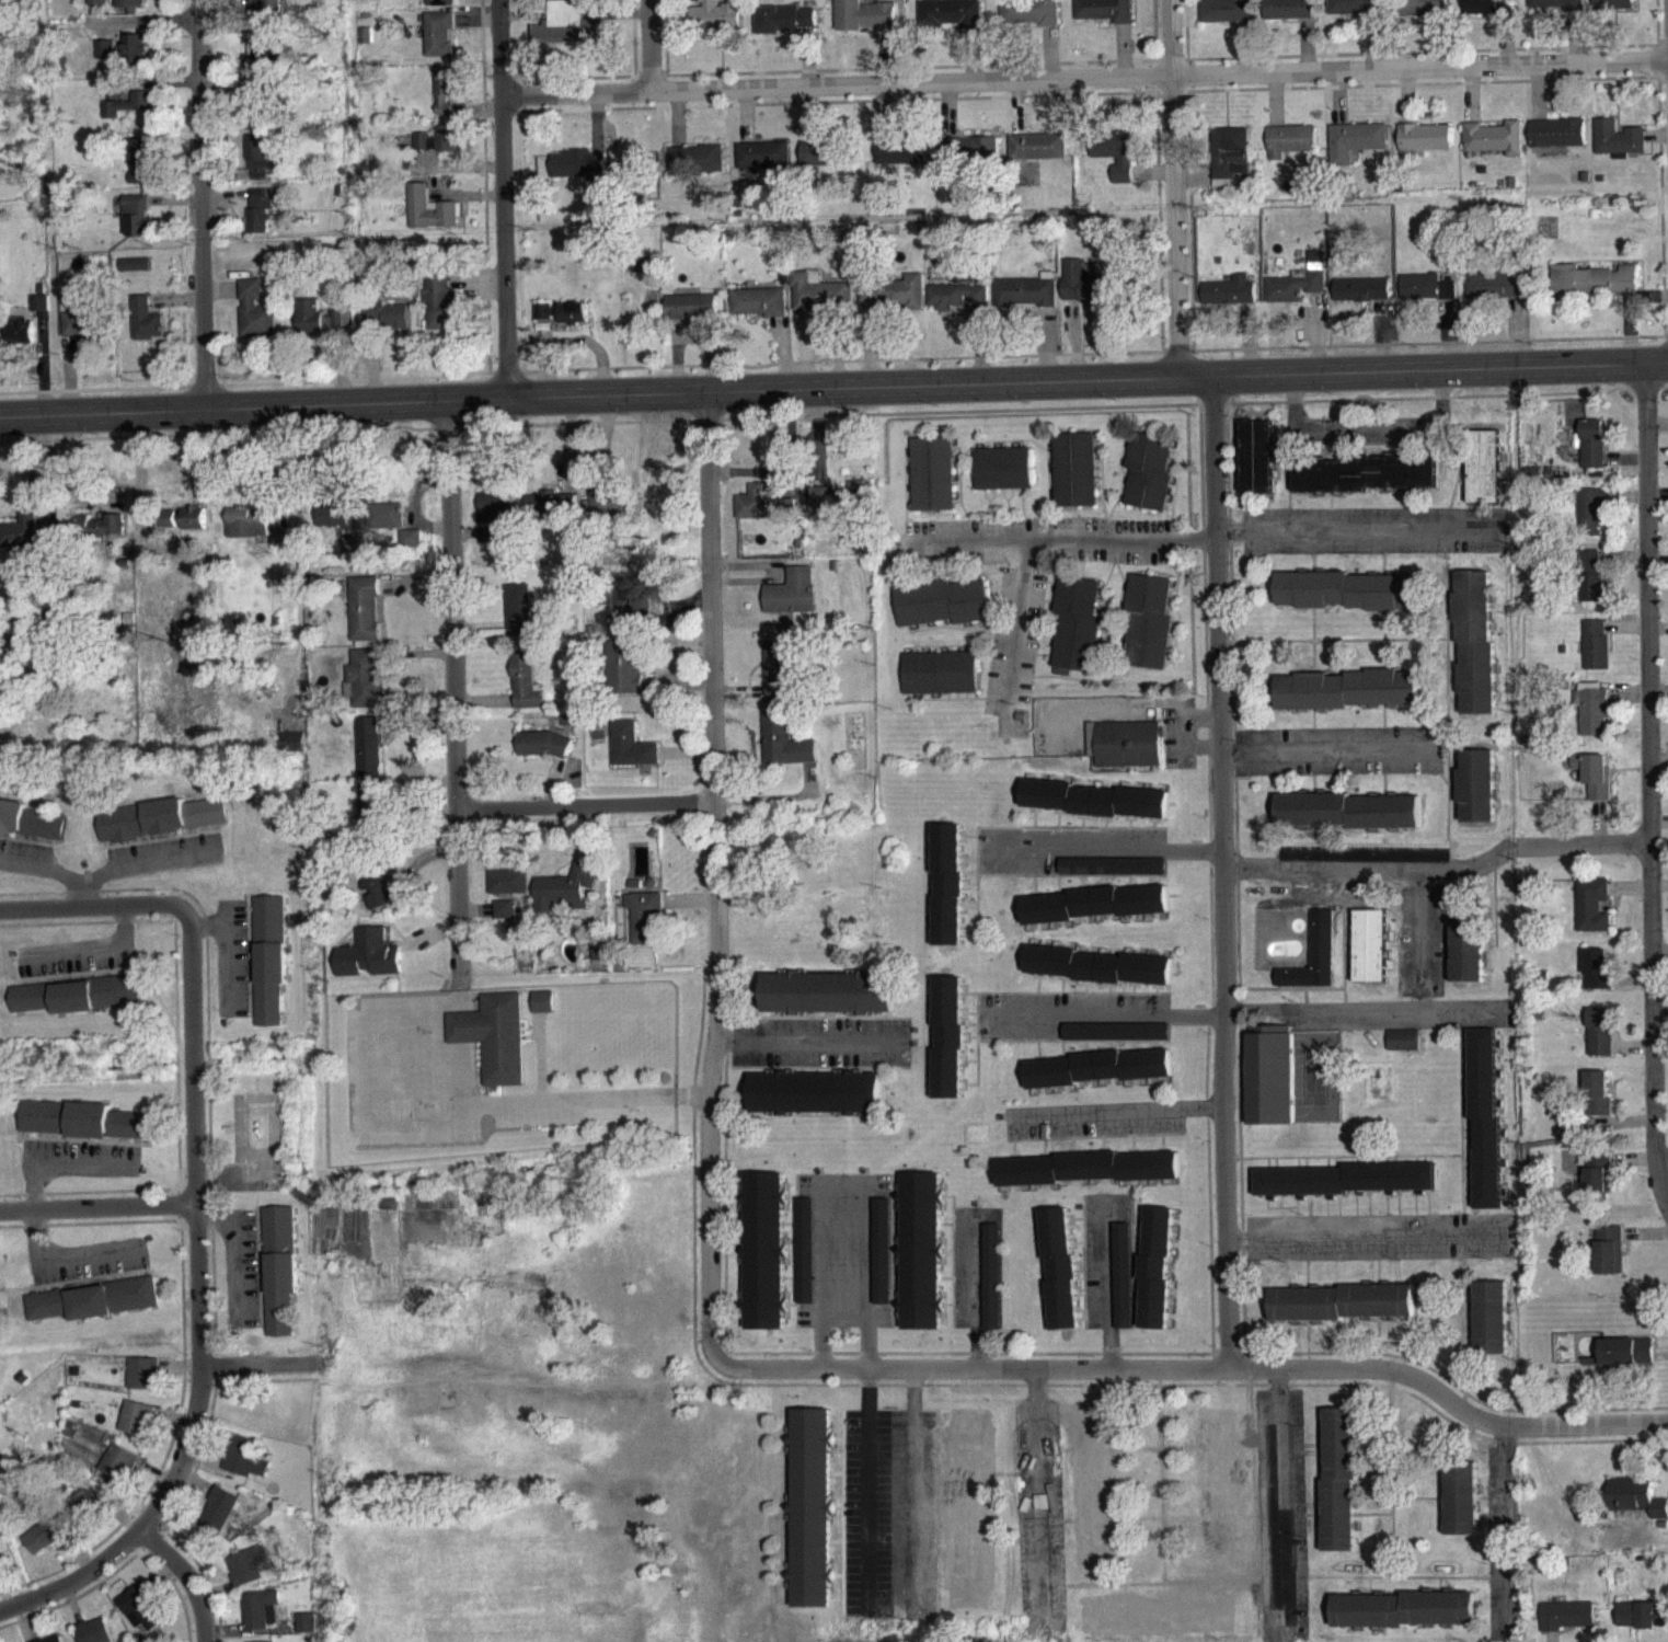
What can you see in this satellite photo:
building: (96, 7)
building: (439, 8)
building: (266, 9)
building: (1555, 9)
building: (130, 10)
building: (1613, 10)
building: (1354, 12)
building: (1486, 12)
building: (1423, 13)
building: (1105, 16)
building: (1288, 16)
building: (1227, 18)
building: (1031, 20)
building: (716, 23)
building: (951, 23)
building: (865, 24)
building: (785, 30)
building: (566, 35)
road: (1171, 37)
road: (648, 44)
building: (439, 45)
road: (1422, 49)
building: (123, 58)
road: (1654, 58)
building: (256, 66)
road: (1190, 72)
road: (1084, 77)
road: (1423, 81)
building: (445, 100)
building: (141, 111)
building: (115, 119)
building: (1557, 130)
building: (1424, 135)
building: (1492, 135)
building: (1289, 137)
building: (1617, 137)
building: (1354, 138)
building: (1425, 147)
building: (437, 149)
building: (1038, 157)
building: (901, 161)
building: (969, 161)
building: (1113, 162)
building: (820, 163)
building: (763, 164)
building: (1231, 167)
building: (260, 168)
building: (695, 170)
building: (140, 171)
building: (578, 174)
road: (503, 198)
road: (199, 204)
building: (429, 220)
building: (258, 221)
road: (1174, 226)
building: (139, 227)
building: (135, 275)
building: (1594, 290)
building: (1086, 294)
building: (1495, 296)
building: (1293, 297)
building: (1426, 298)
building: (1361, 300)
building: (890, 301)
building: (818, 302)
building: (1025, 302)
building: (1229, 302)
building: (956, 307)
building: (439, 311)
building: (759, 312)
building: (39, 313)
building: (691, 317)
building: (256, 321)
building: (545, 322)
building: (573, 323)
building: (386, 325)
building: (320, 329)
building: (146, 330)
building: (83, 334)
building: (21, 342)
road: (833, 388)
road: (1368, 421)
building: (1592, 453)
road: (140, 463)
building: (1257, 467)
building: (1485, 476)
building: (1003, 479)
building: (1074, 480)
building: (1148, 482)
building: (932, 484)
building: (1364, 484)
building: (833, 508)
building: (551, 513)
building: (610, 514)
building: (762, 515)
building: (1589, 521)
building: (331, 523)
building: (384, 526)
building: (492, 526)
building: (193, 528)
road: (1358, 528)
building: (246, 533)
road: (1058, 538)
building: (101, 539)
building: (22, 540)
building: (410, 549)
building: (1589, 571)
building: (1592, 598)
building: (1348, 601)
building: (632, 602)
building: (792, 602)
building: (942, 612)
building: (364, 619)
building: (518, 620)
road: (1015, 623)
building: (1148, 633)
building: (1075, 635)
building: (1475, 652)
building: (1596, 655)
building: (624, 677)
building: (781, 678)
building: (941, 684)
building: (366, 689)
road: (453, 692)
building: (526, 692)
building: (1348, 700)
building: (1592, 722)
road: (1330, 750)
building: (292, 751)
building: (786, 751)
building: (543, 755)
building: (1128, 755)
building: (632, 756)
building: (369, 757)
building: (1595, 785)
road: (1653, 785)
building: (1477, 796)
road: (586, 804)
building: (1095, 809)
building: (371, 818)
building: (1347, 822)
building: (160, 829)
building: (31, 831)
road: (1106, 848)
road: (1439, 866)
road: (1223, 871)
road: (102, 872)
road: (716, 874)
building: (1113, 876)
building: (509, 892)
road: (82, 893)
building: (950, 895)
building: (376, 898)
building: (567, 899)
road: (97, 910)
building: (1095, 915)
building: (1592, 916)
building: (505, 920)
building: (646, 928)
road: (88, 948)
building: (1371, 956)
building: (1468, 958)
building: (369, 965)
building: (269, 968)
building: (1313, 973)
building: (1100, 976)
building: (1597, 979)
road: (460, 997)
building: (543, 998)
parking lot: (400, 1000)
parking lot: (366, 1001)
building: (77, 1006)
road: (1370, 1006)
road: (427, 1010)
building: (543, 1012)
road: (388, 1014)
road: (1103, 1015)
road: (460, 1024)
road: (440, 1026)
building: (494, 1033)
road: (812, 1041)
building: (1117, 1042)
building: (1600, 1042)
building: (950, 1047)
parking lot: (352, 1050)
building: (1404, 1050)
road: (541, 1055)
parking lot: (425, 1066)
road: (411, 1067)
road: (368, 1068)
parking lot: (396, 1068)
parking lot: (383, 1069)
road: (462, 1071)
building: (1100, 1079)
parking lot: (440, 1082)
building: (1270, 1086)
road: (587, 1098)
building: (818, 1103)
building: (1598, 1103)
road: (1118, 1109)
parking lot: (354, 1112)
parking lot: (537, 1116)
road: (419, 1118)
building: (1485, 1129)
building: (83, 1130)
parking lot: (464, 1132)
parking lot: (402, 1133)
road: (1661, 1164)
building: (1090, 1179)
road: (845, 1180)
building: (1599, 1183)
building: (1345, 1190)
road: (97, 1202)
road: (32, 1213)
road: (197, 1222)
road: (1359, 1236)
building: (767, 1261)
building: (807, 1261)
building: (884, 1261)
building: (923, 1261)
building: (1610, 1261)
road: (1104, 1275)
building: (1157, 1278)
building: (280, 1279)
building: (1061, 1279)
road: (974, 1282)
building: (1124, 1286)
building: (993, 1287)
building: (93, 1310)
building: (1343, 1313)
building: (1492, 1329)
road: (252, 1362)
building: (1626, 1362)
road: (1193, 1364)
building: (142, 1383)
building: (136, 1428)
building: (244, 1468)
building: (118, 1472)
road: (1033, 1480)
road: (909, 1482)
building: (0, 1483)
road: (863, 1484)
building: (1341, 1490)
road: (1281, 1499)
building: (1637, 1507)
building: (91, 1509)
building: (1462, 1511)
building: (813, 1518)
building: (219, 1520)
road: (1509, 1526)
building: (43, 1546)
road: (71, 1562)
building: (249, 1575)
road: (182, 1578)
building: (141, 1619)
building: (261, 1620)
building: (1404, 1620)
building: (1567, 1626)
building: (1643, 1627)
building: (307, 1632)
building: (94, 1637)

